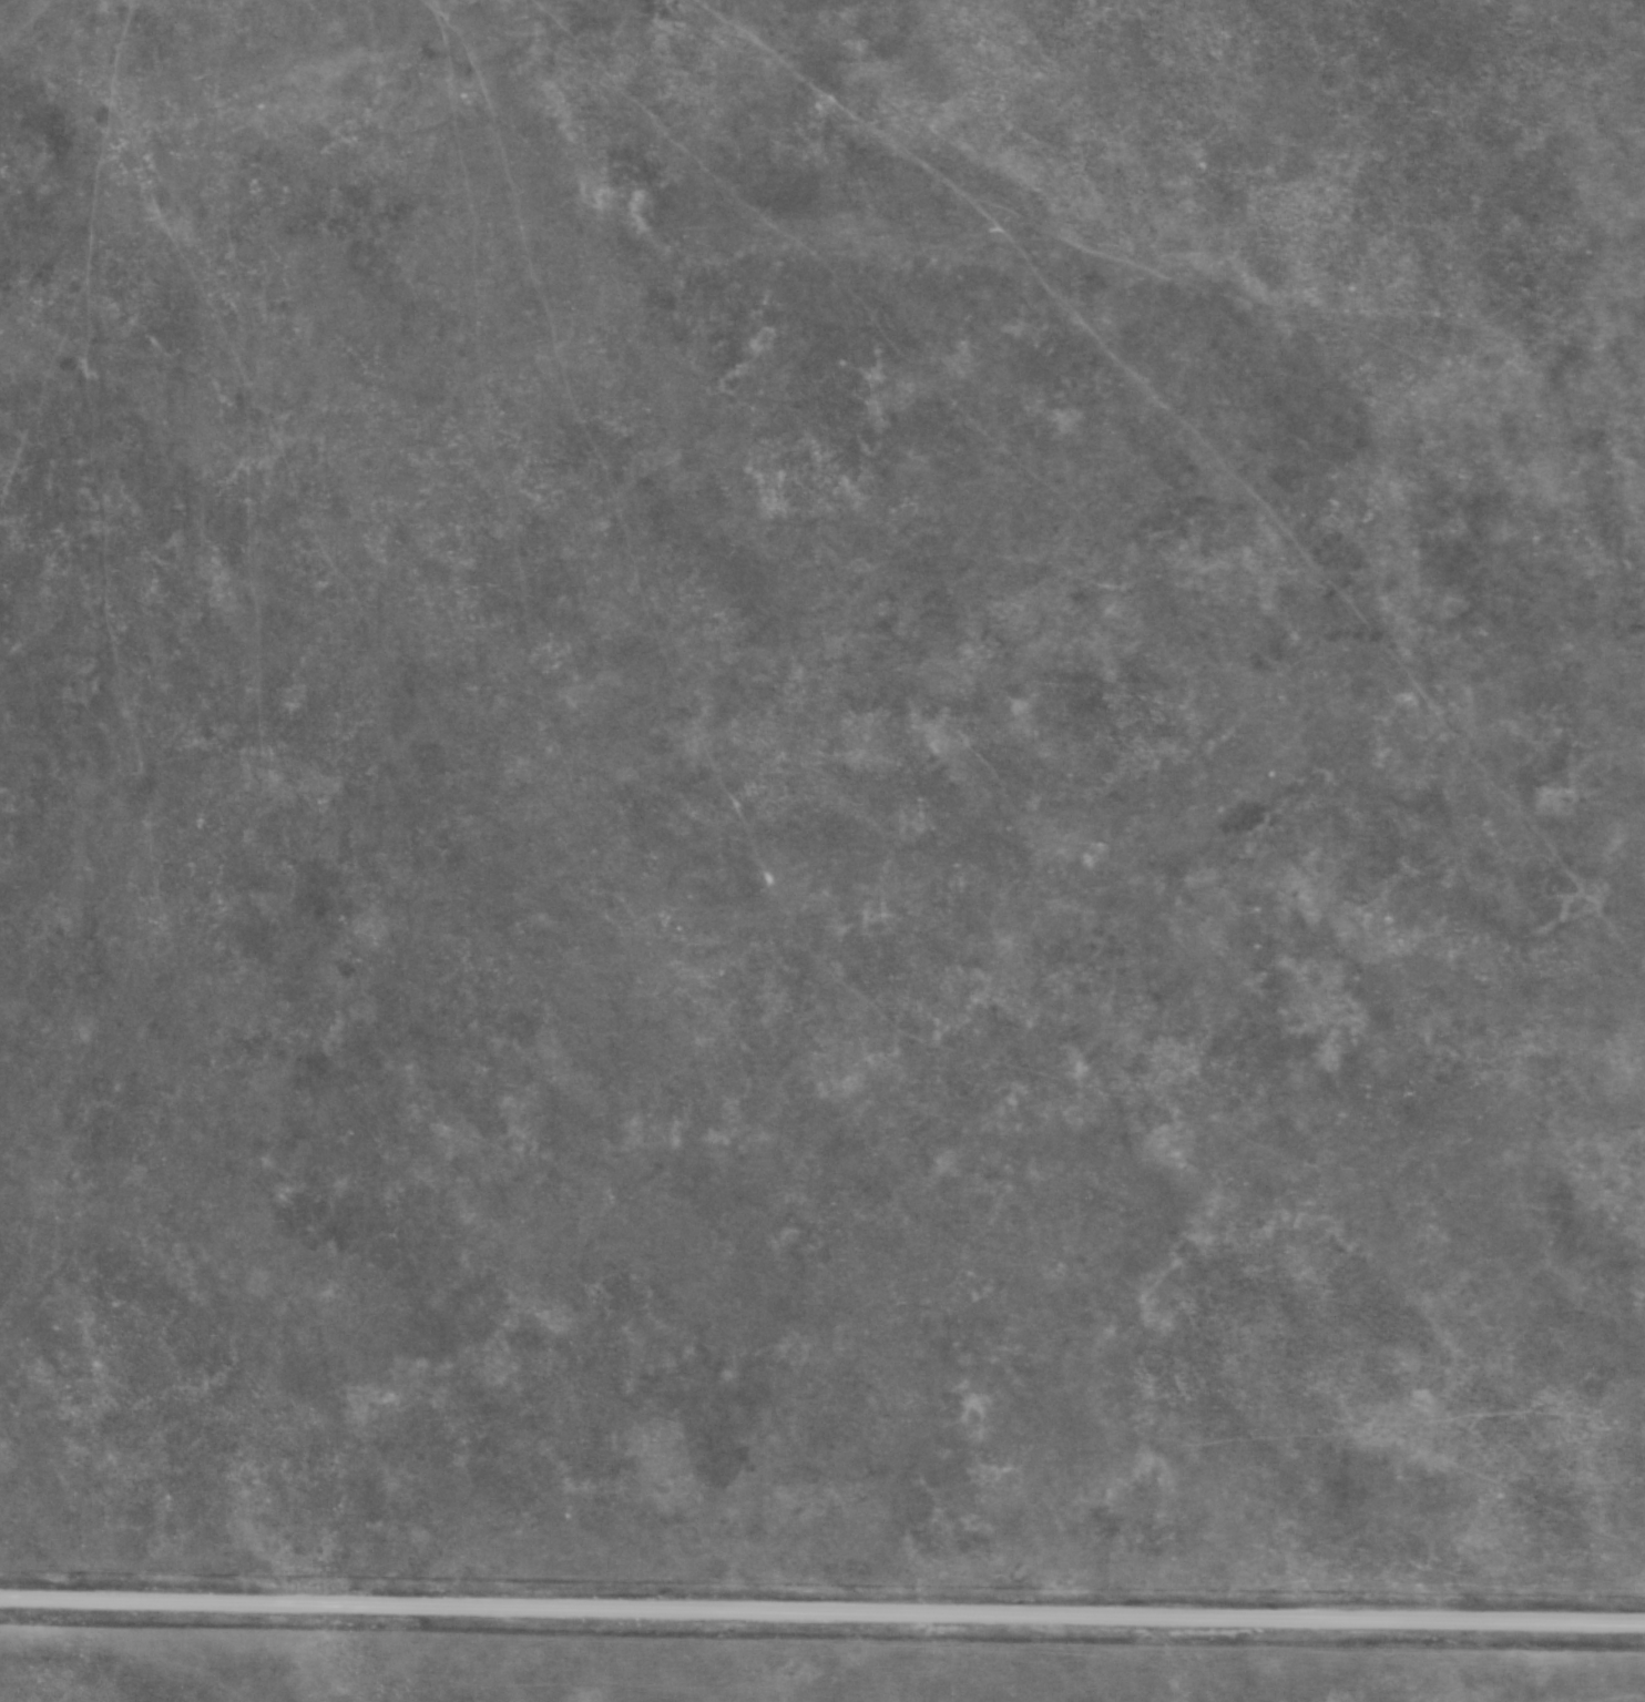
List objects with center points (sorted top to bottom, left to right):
road: (821, 1612)

